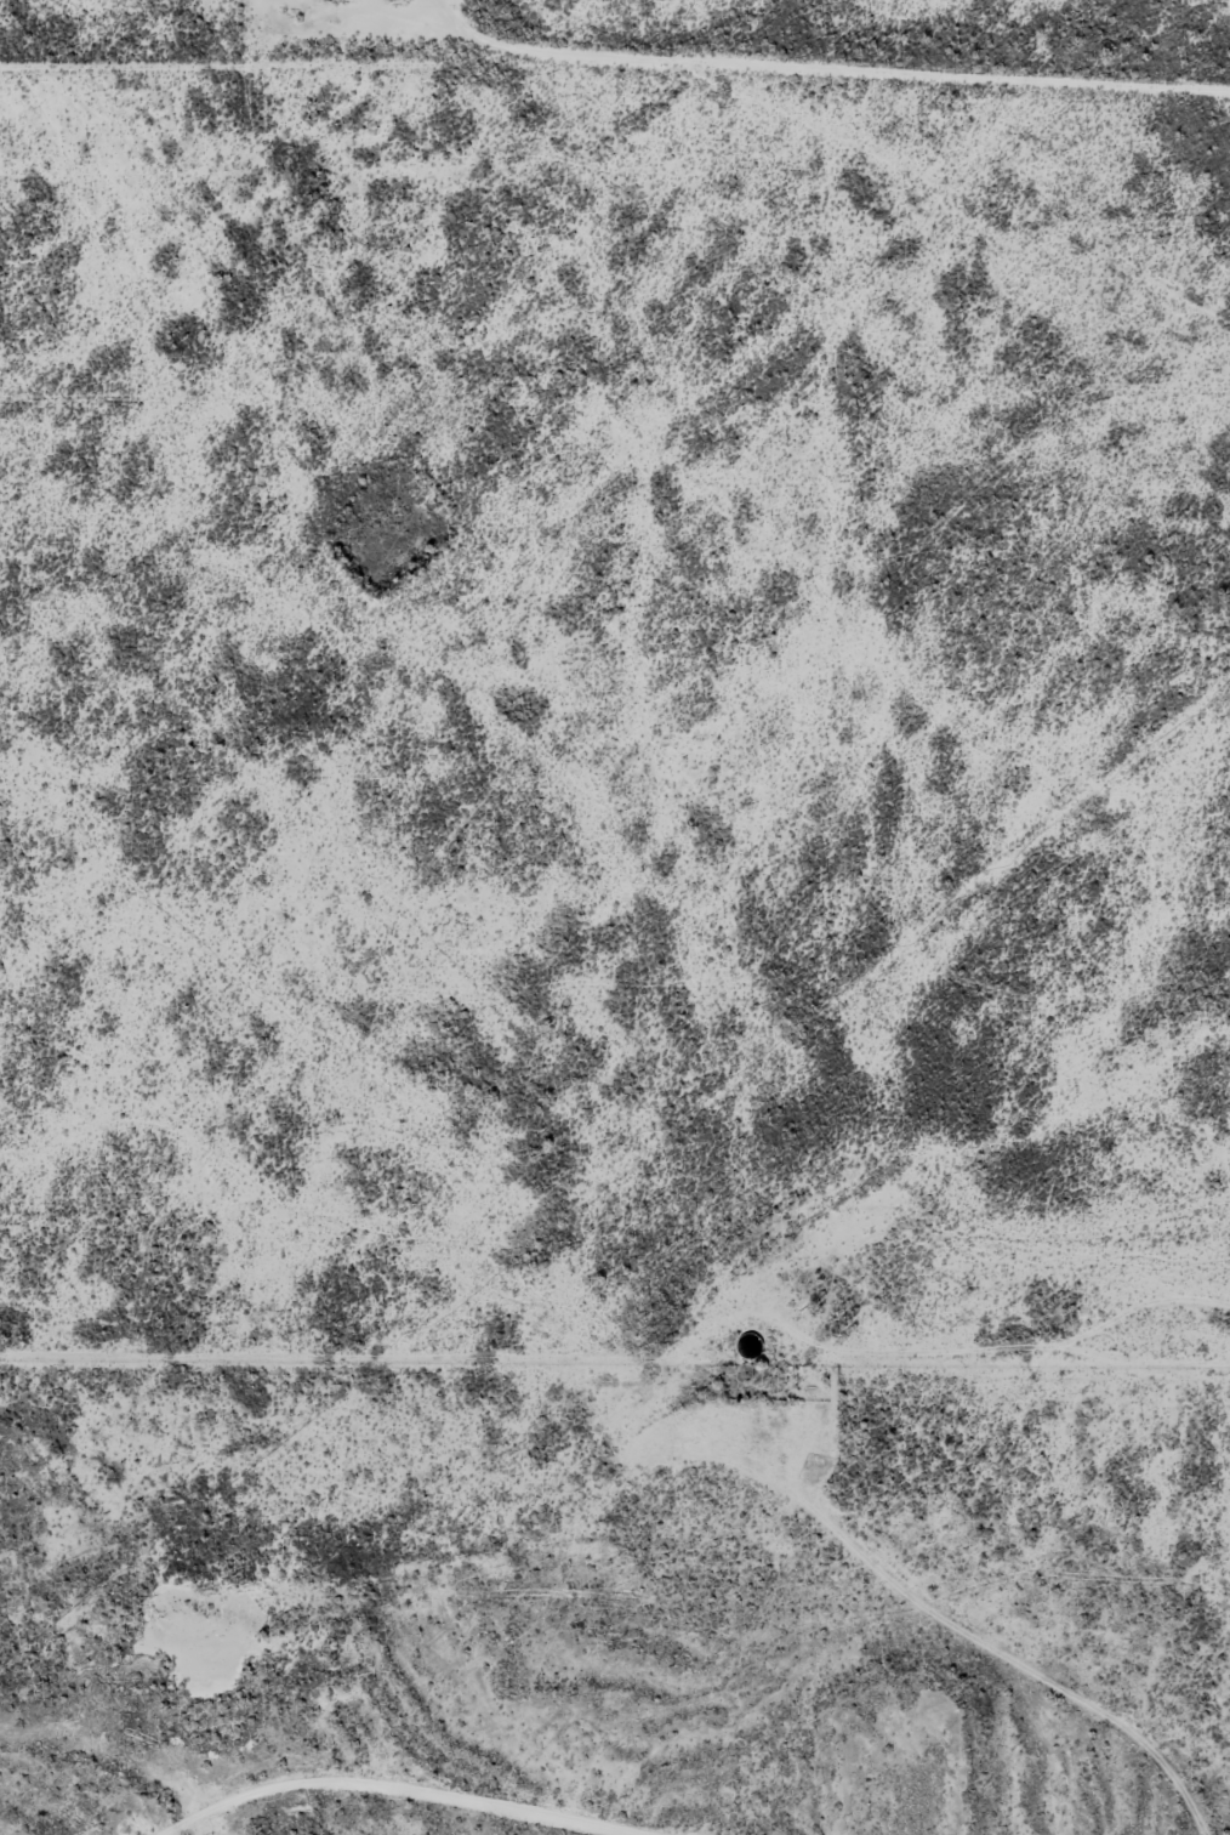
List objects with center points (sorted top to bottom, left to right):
road: (770, 1447)

